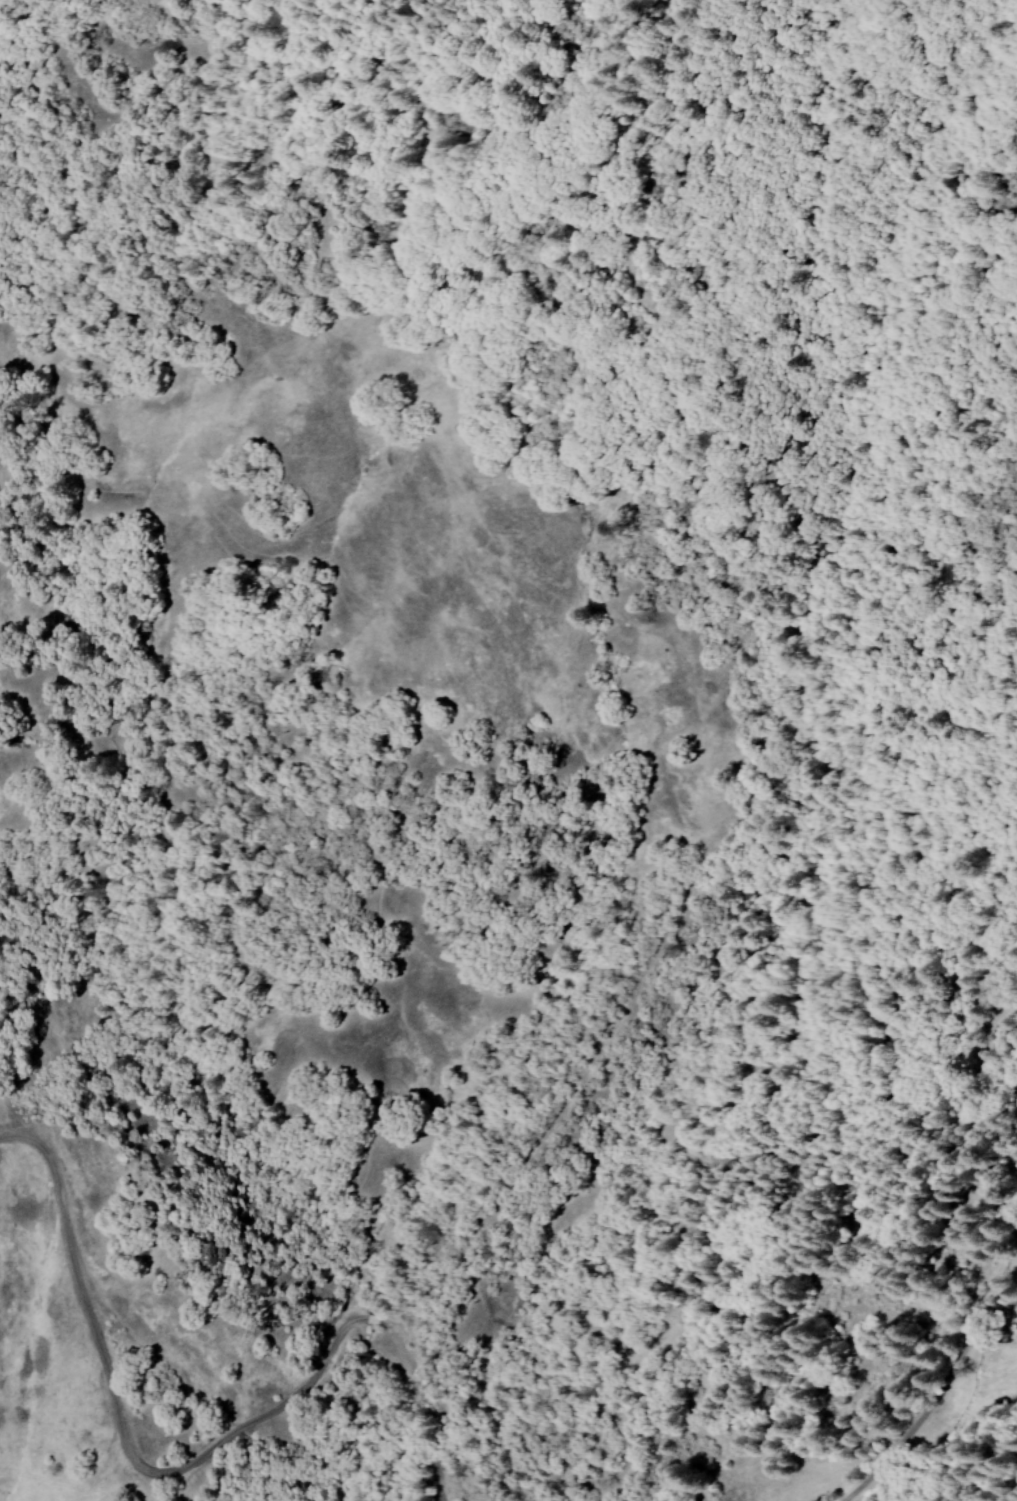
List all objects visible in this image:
road: (947, 1401)
road: (183, 1475)

